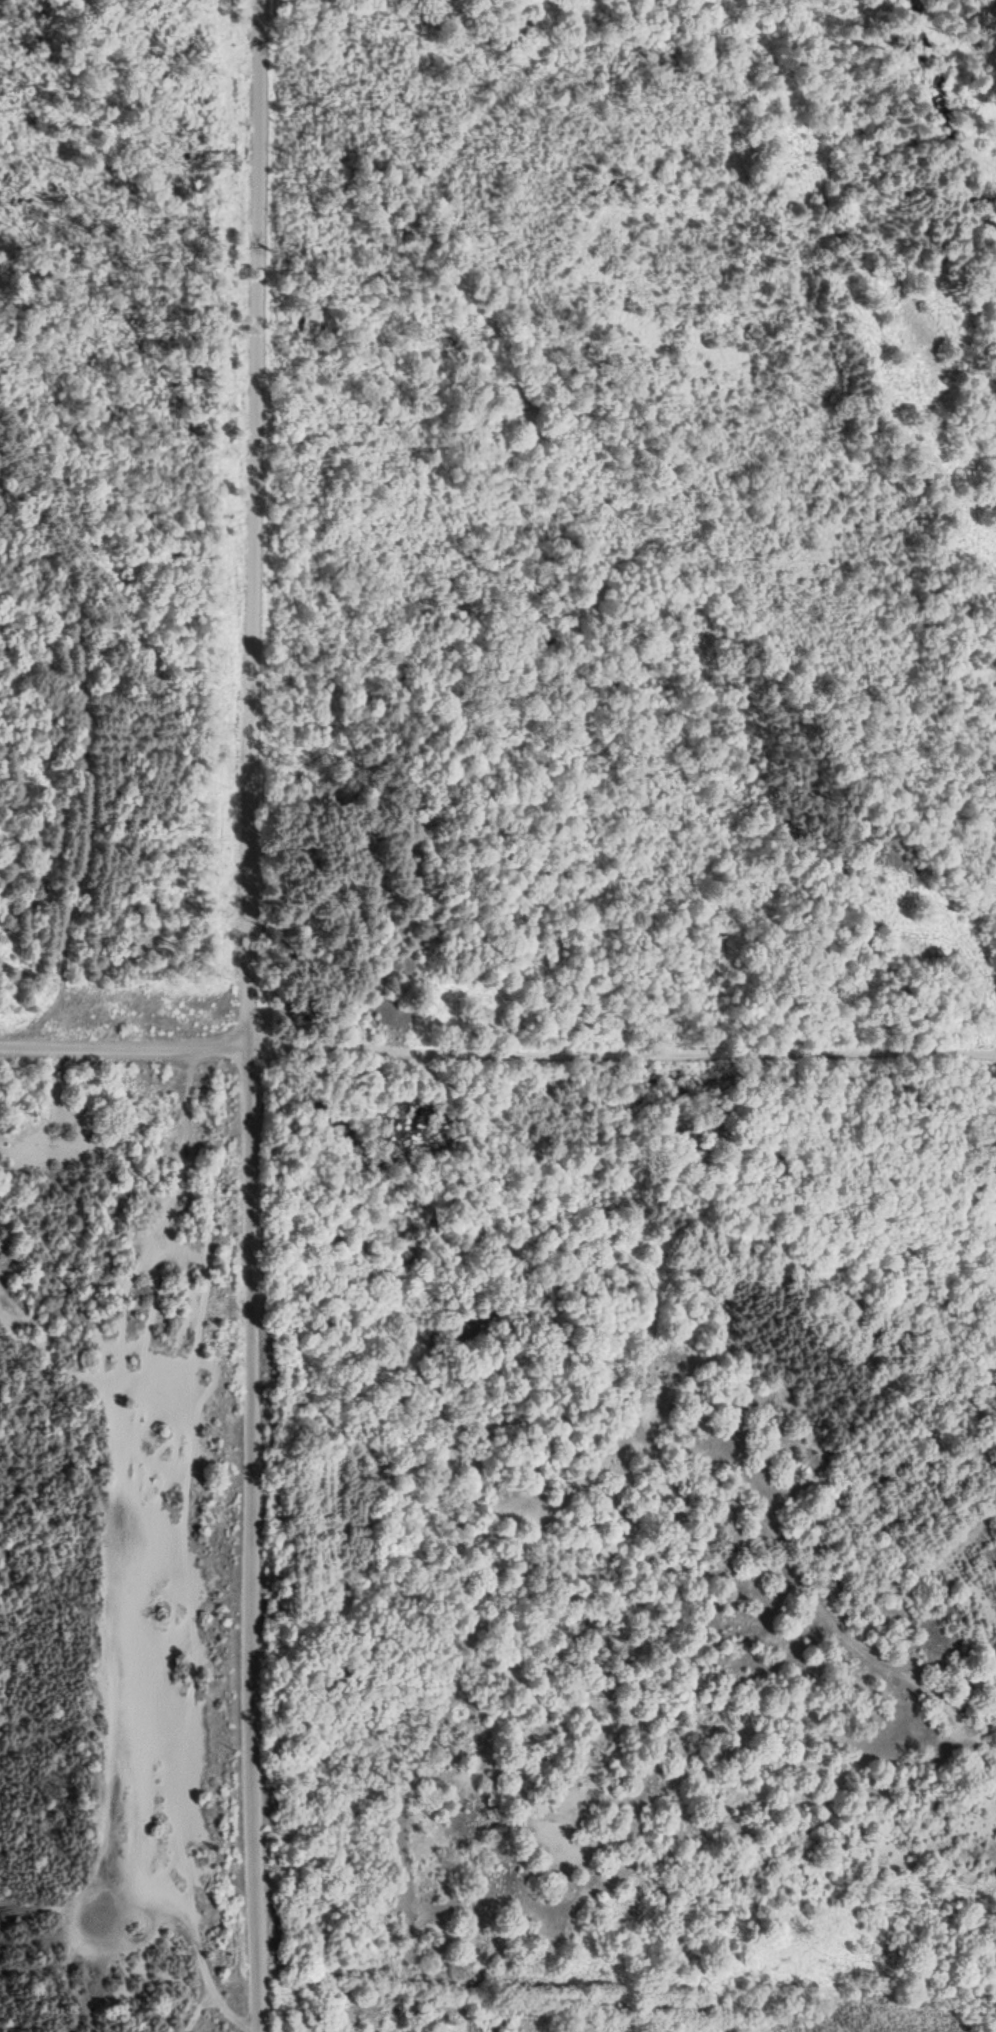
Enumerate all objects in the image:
road: (248, 1015)
road: (497, 1049)

